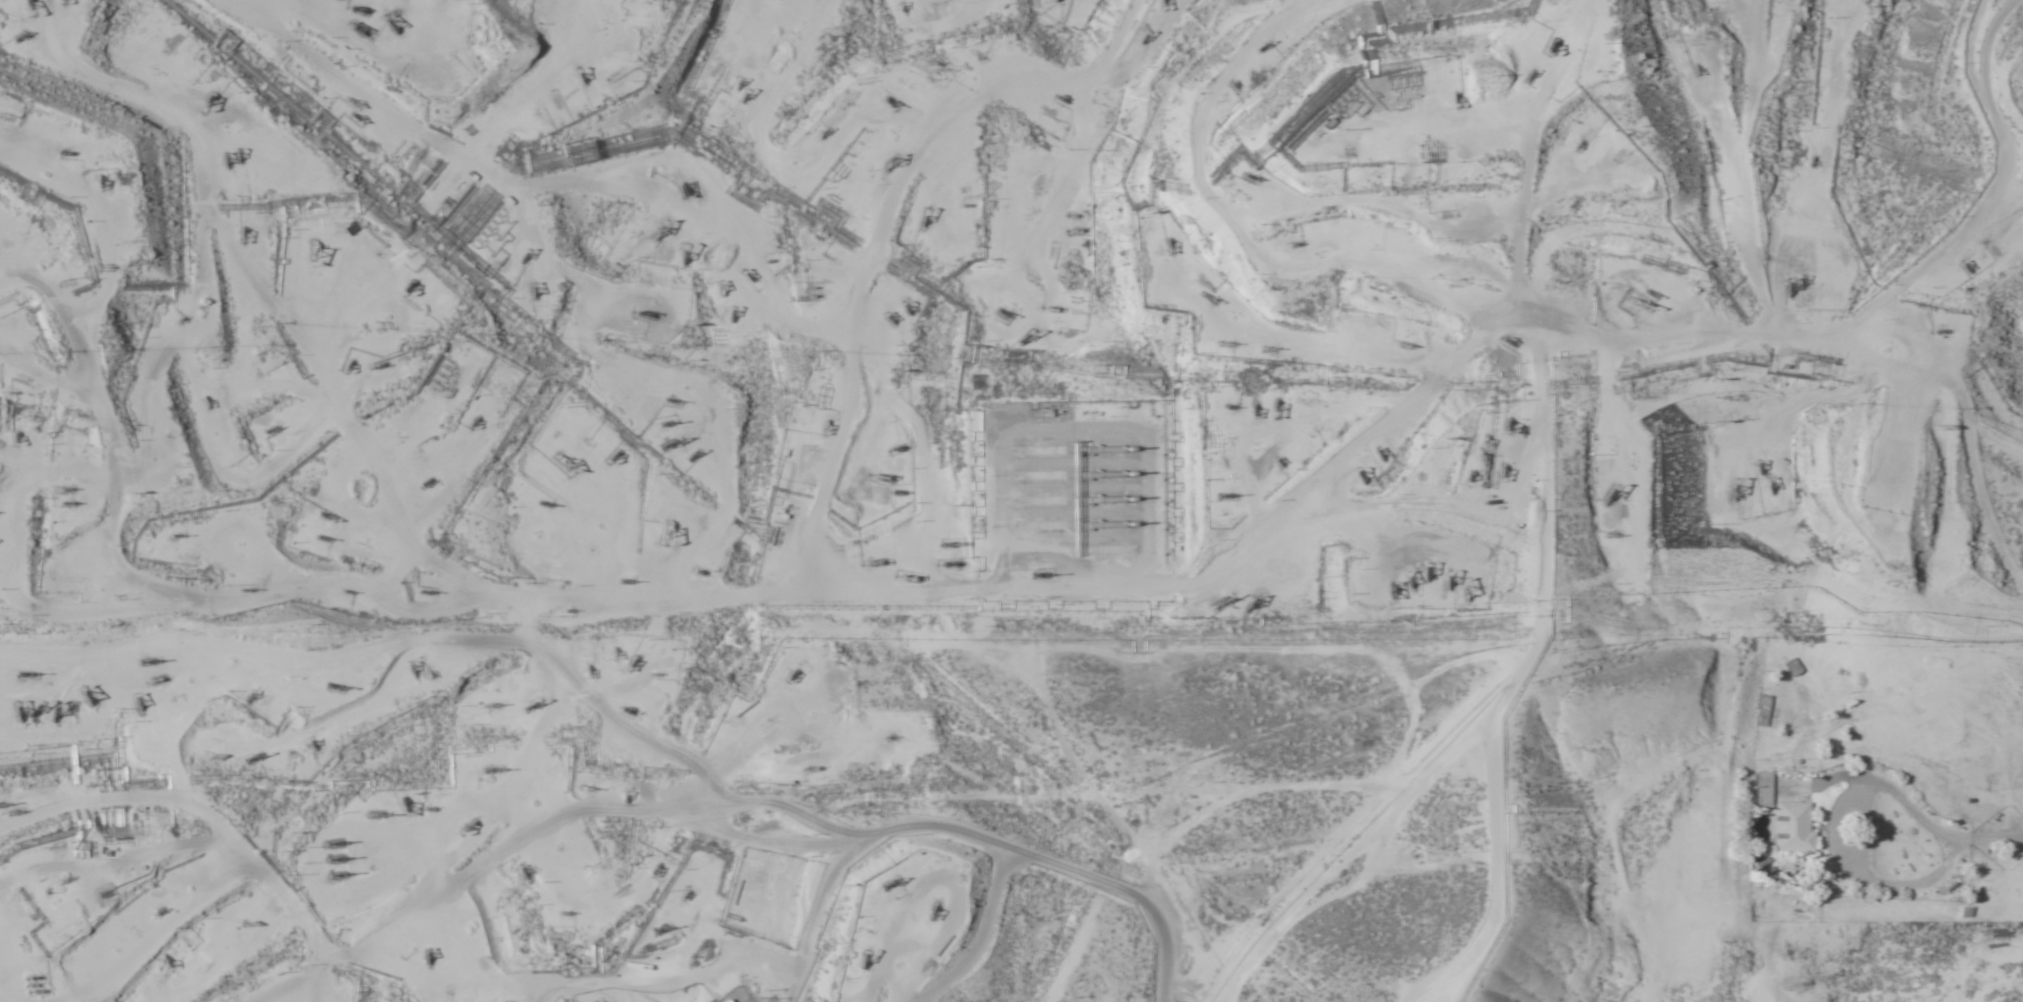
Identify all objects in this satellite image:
road: (1778, 642)
building: (1797, 668)
building: (1767, 710)
building: (1796, 827)
building: (771, 866)
building: (339, 879)
building: (492, 938)

